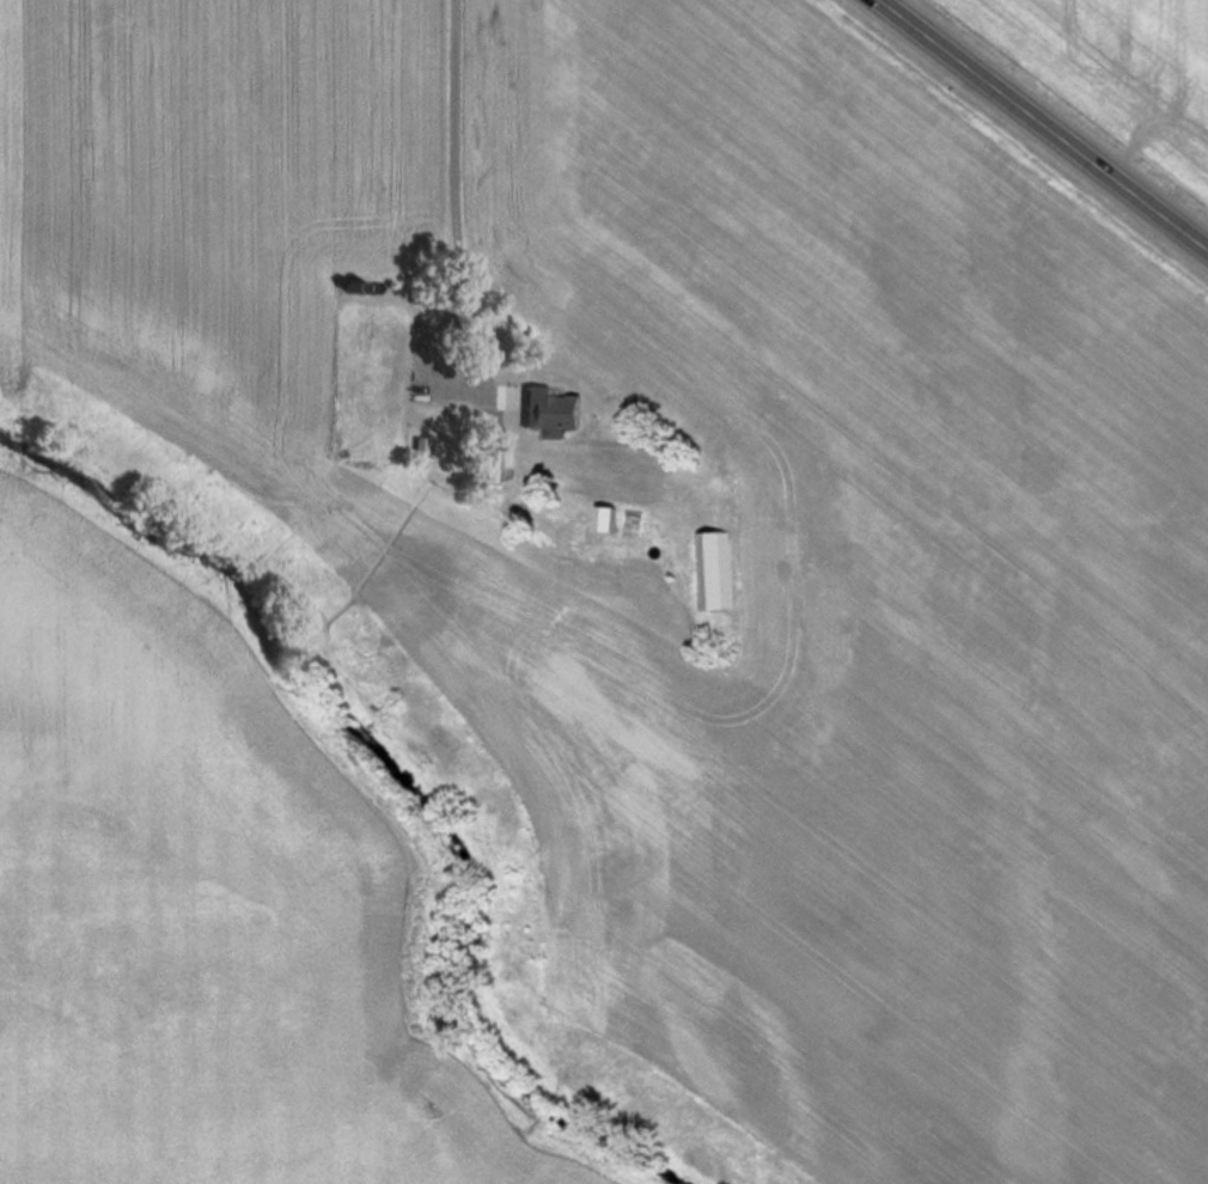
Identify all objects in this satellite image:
road: (1044, 124)
road: (464, 311)
building: (501, 464)
building: (611, 517)

